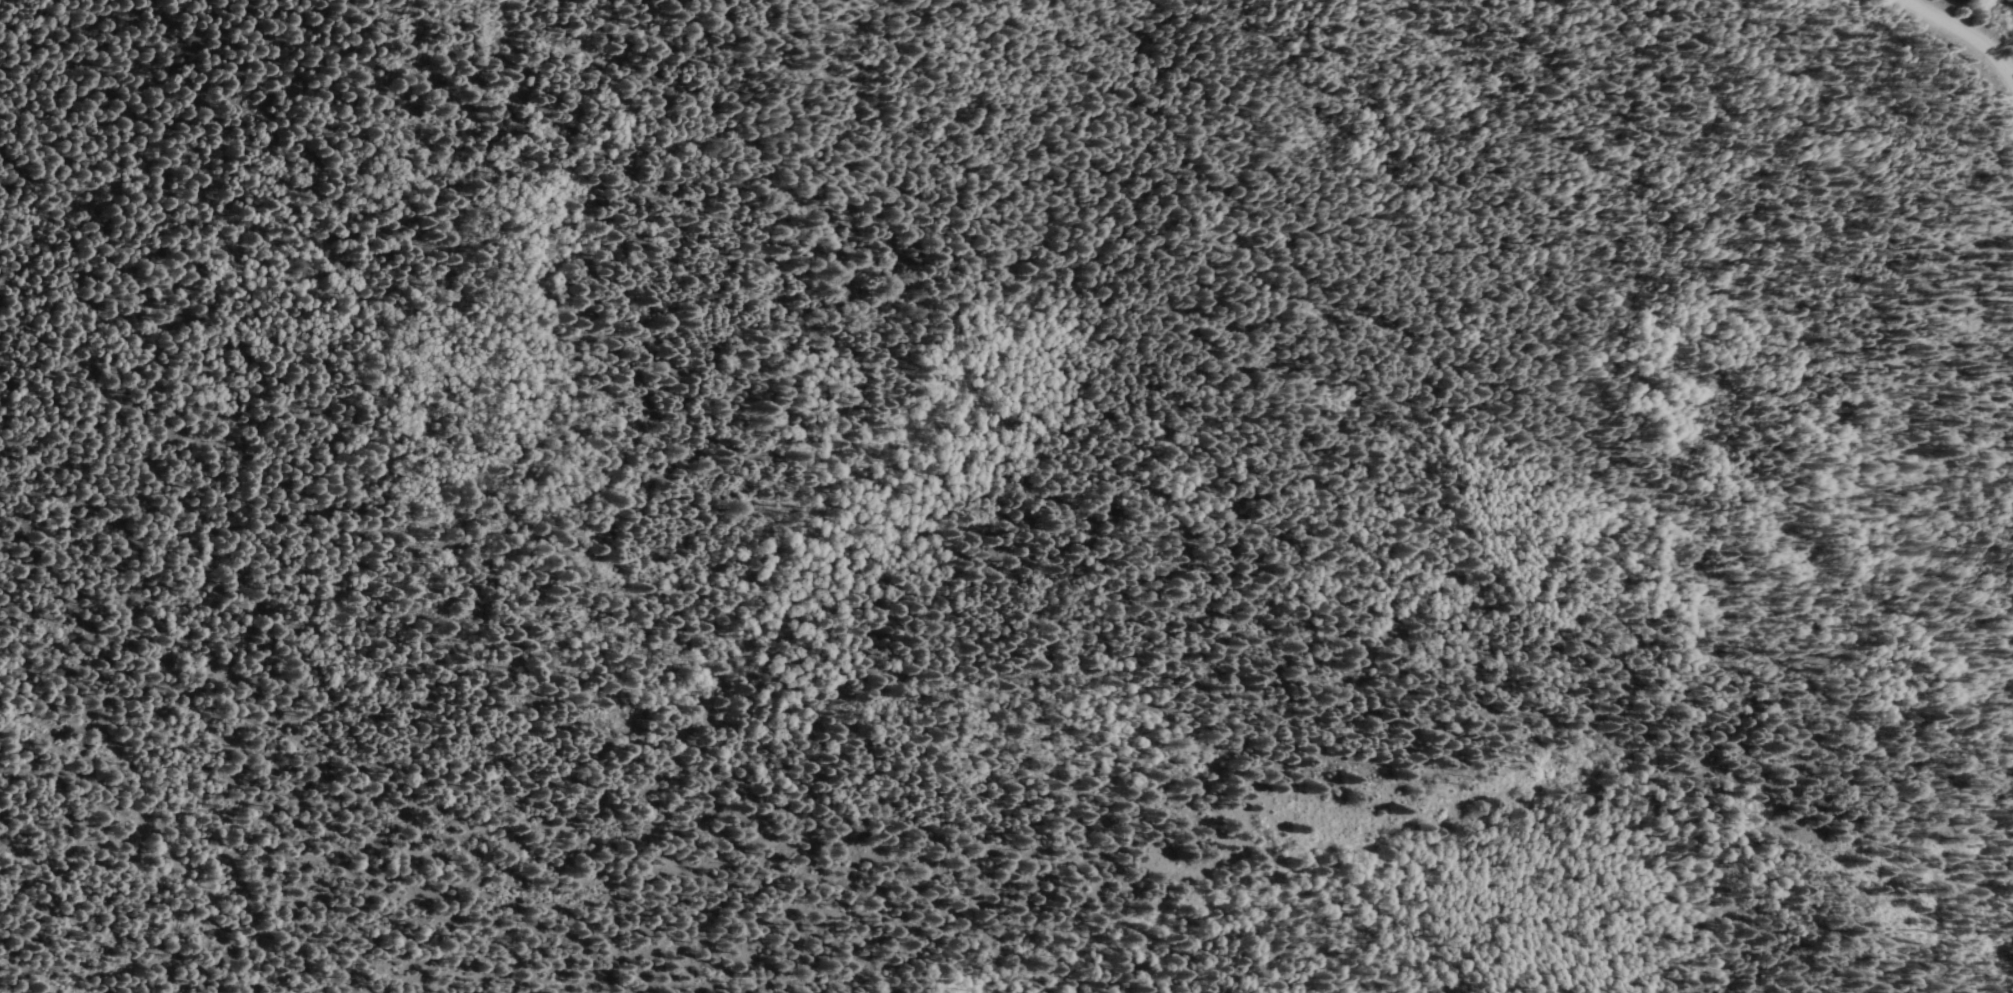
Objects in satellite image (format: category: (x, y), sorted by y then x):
road: (1965, 32)

